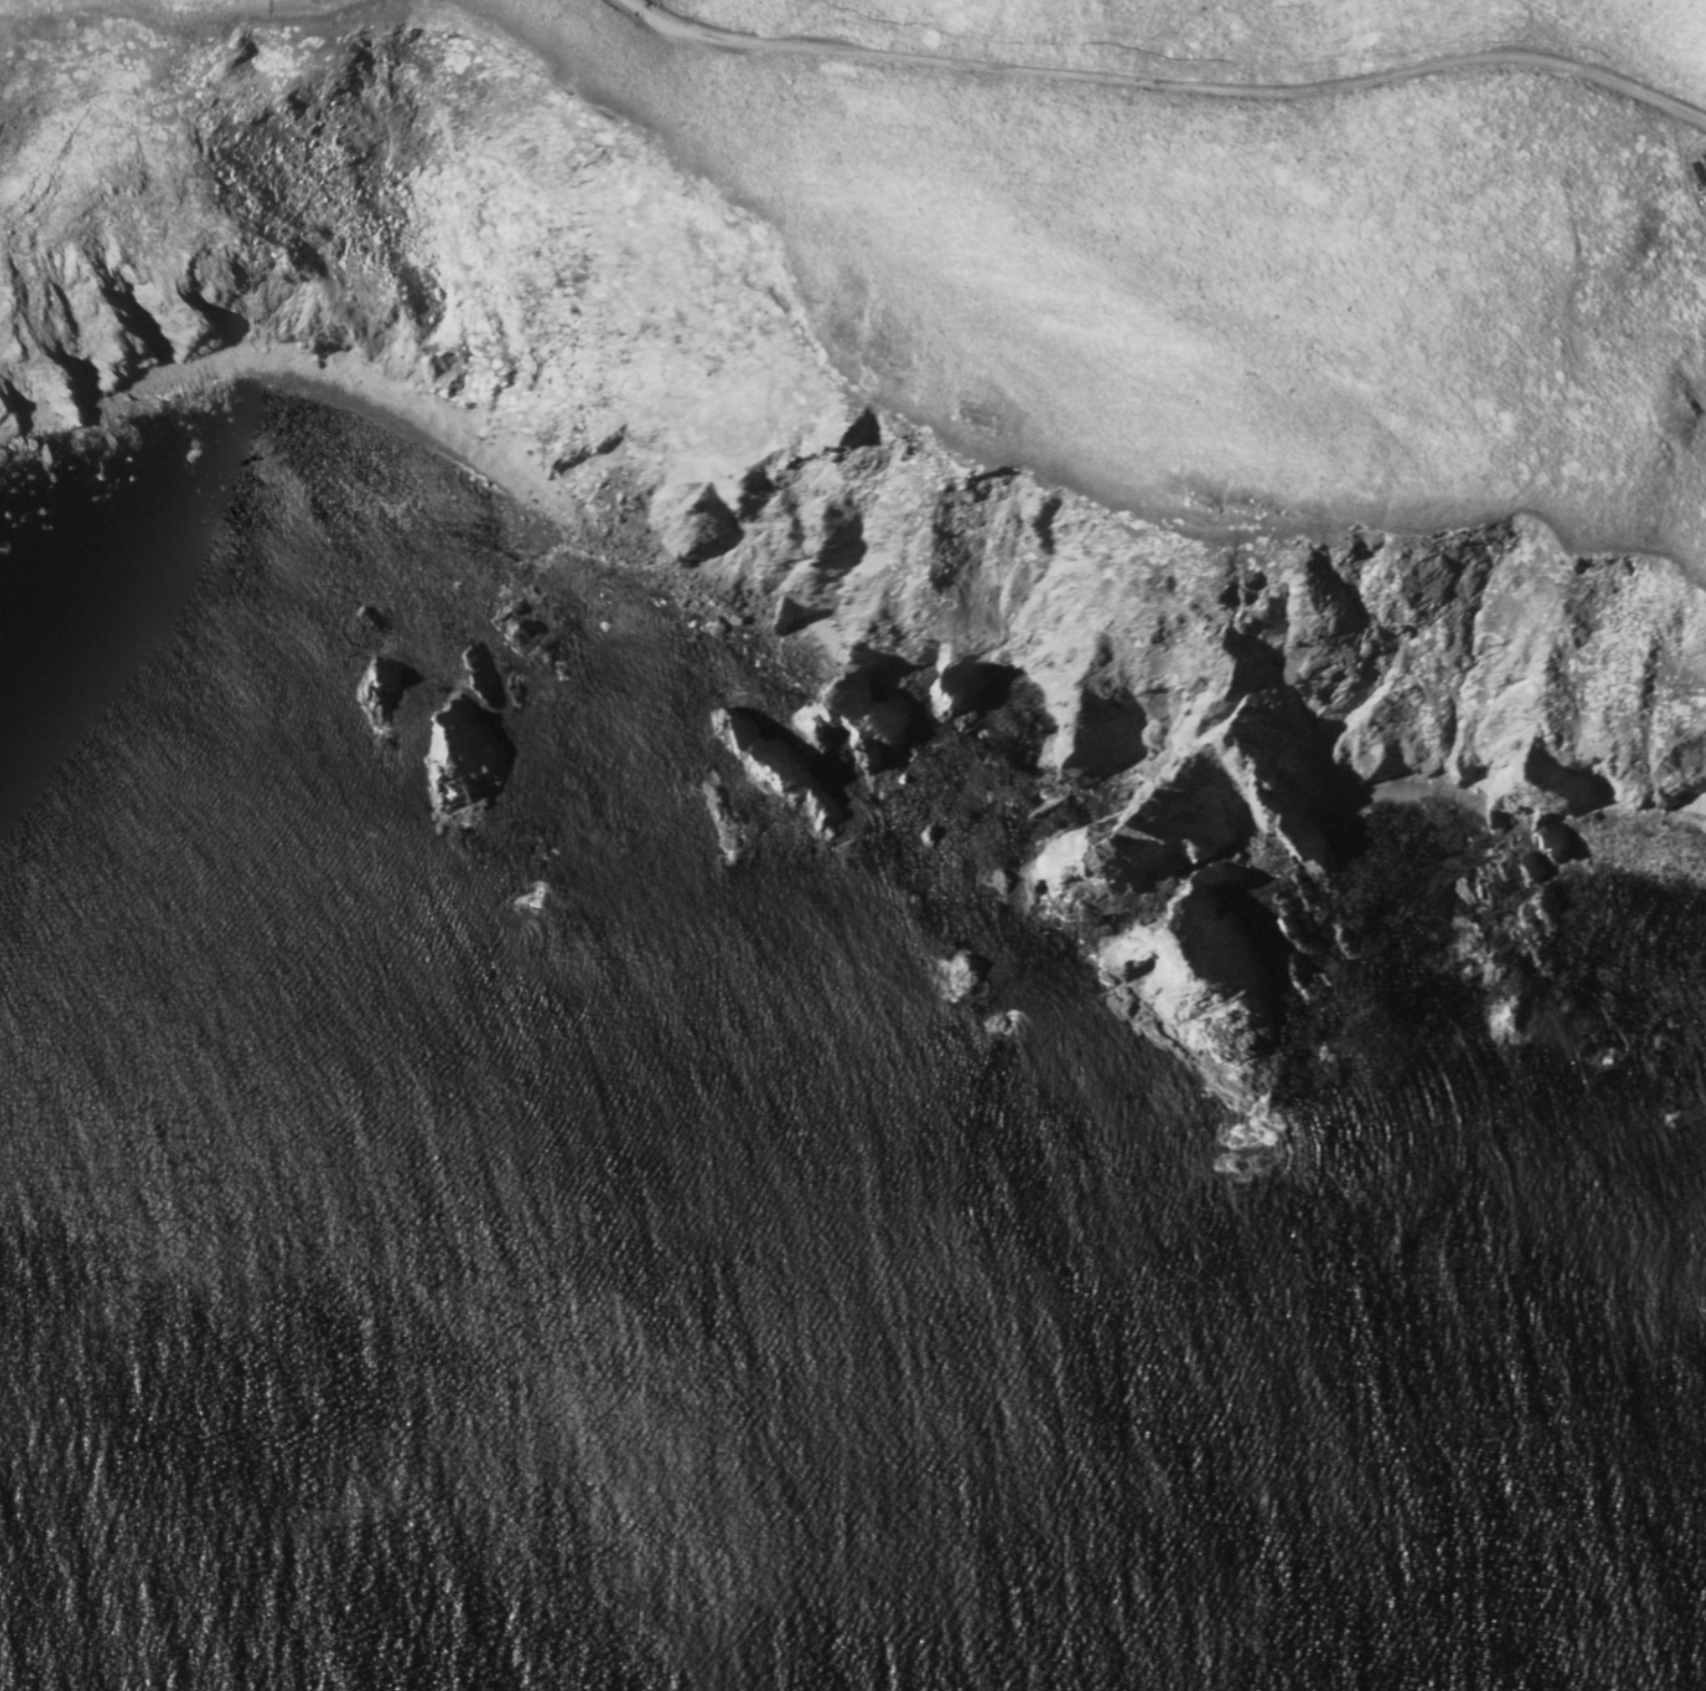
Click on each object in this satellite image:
road: (329, 3)
road: (1170, 84)

